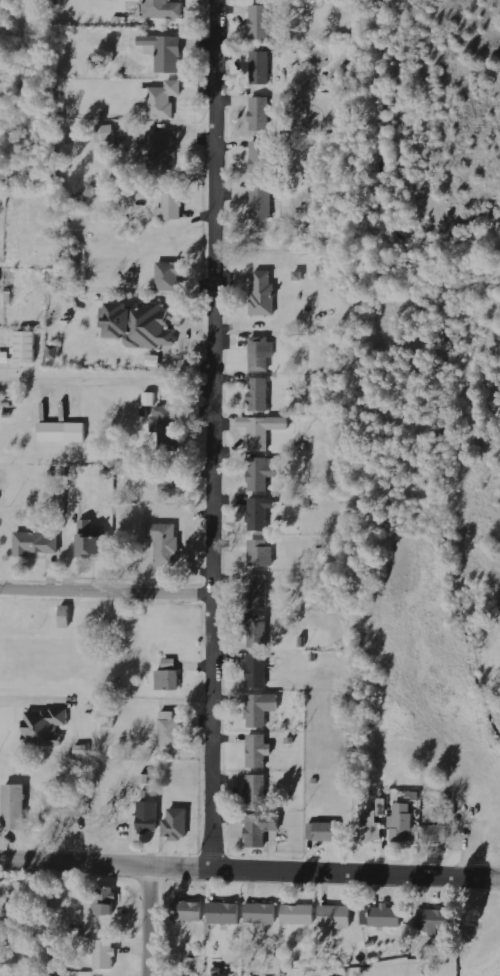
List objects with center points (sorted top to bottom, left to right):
building: (164, 9)
building: (260, 21)
building: (166, 52)
building: (261, 67)
building: (161, 99)
building: (260, 113)
building: (106, 133)
building: (159, 150)
building: (262, 156)
building: (262, 202)
building: (171, 204)
building: (170, 277)
building: (264, 293)
building: (140, 324)
building: (27, 346)
building: (261, 353)
building: (5, 357)
building: (259, 394)
building: (164, 425)
building: (262, 430)
building: (63, 431)
road: (212, 434)
building: (261, 473)
building: (173, 488)
building: (260, 513)
building: (94, 541)
building: (35, 543)
building: (166, 543)
building: (261, 552)
building: (258, 591)
road: (105, 592)
building: (66, 616)
building: (258, 632)
building: (258, 671)
building: (169, 676)
building: (261, 708)
building: (45, 727)
building: (169, 728)
building: (258, 750)
building: (256, 791)
building: (15, 807)
building: (73, 808)
building: (148, 817)
building: (401, 822)
building: (176, 824)
building: (370, 827)
building: (261, 829)
building: (437, 829)
building: (323, 831)
road: (249, 870)
building: (105, 901)
building: (189, 912)
building: (225, 913)
building: (262, 913)
building: (299, 914)
building: (336, 916)
building: (366, 916)
building: (386, 916)
building: (435, 920)
road: (148, 921)
building: (104, 954)

